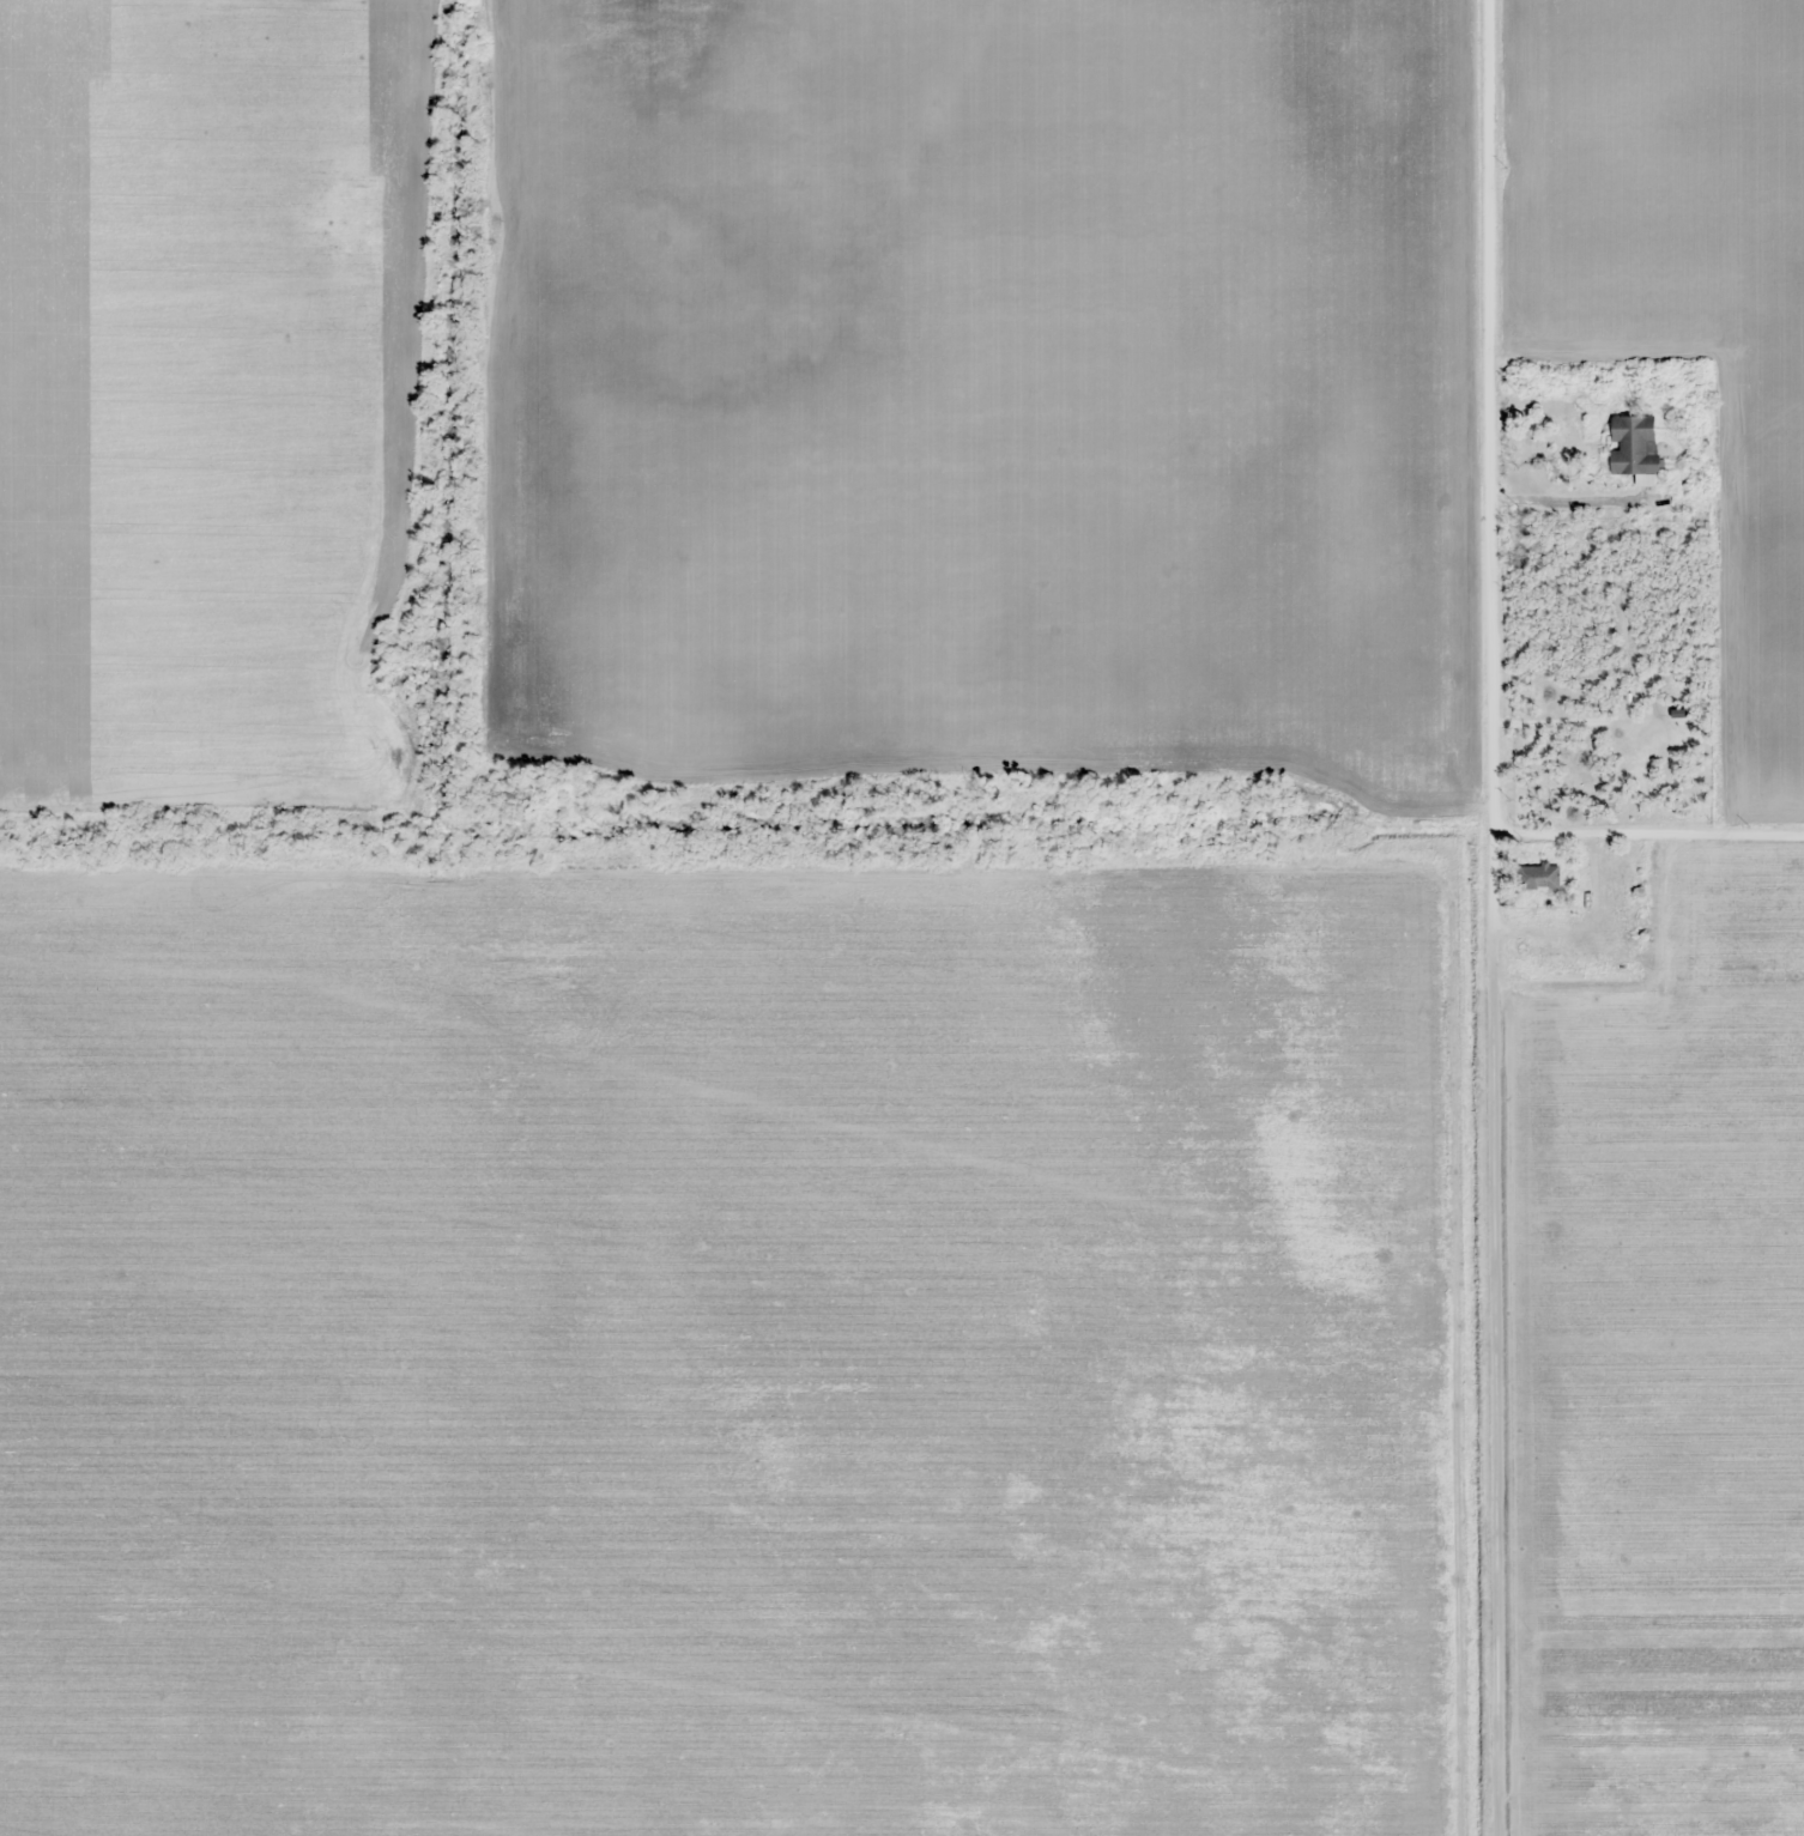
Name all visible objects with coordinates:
building: (1634, 443)
road: (1633, 824)
building: (1538, 877)
road: (1463, 917)
road: (13, 1775)

